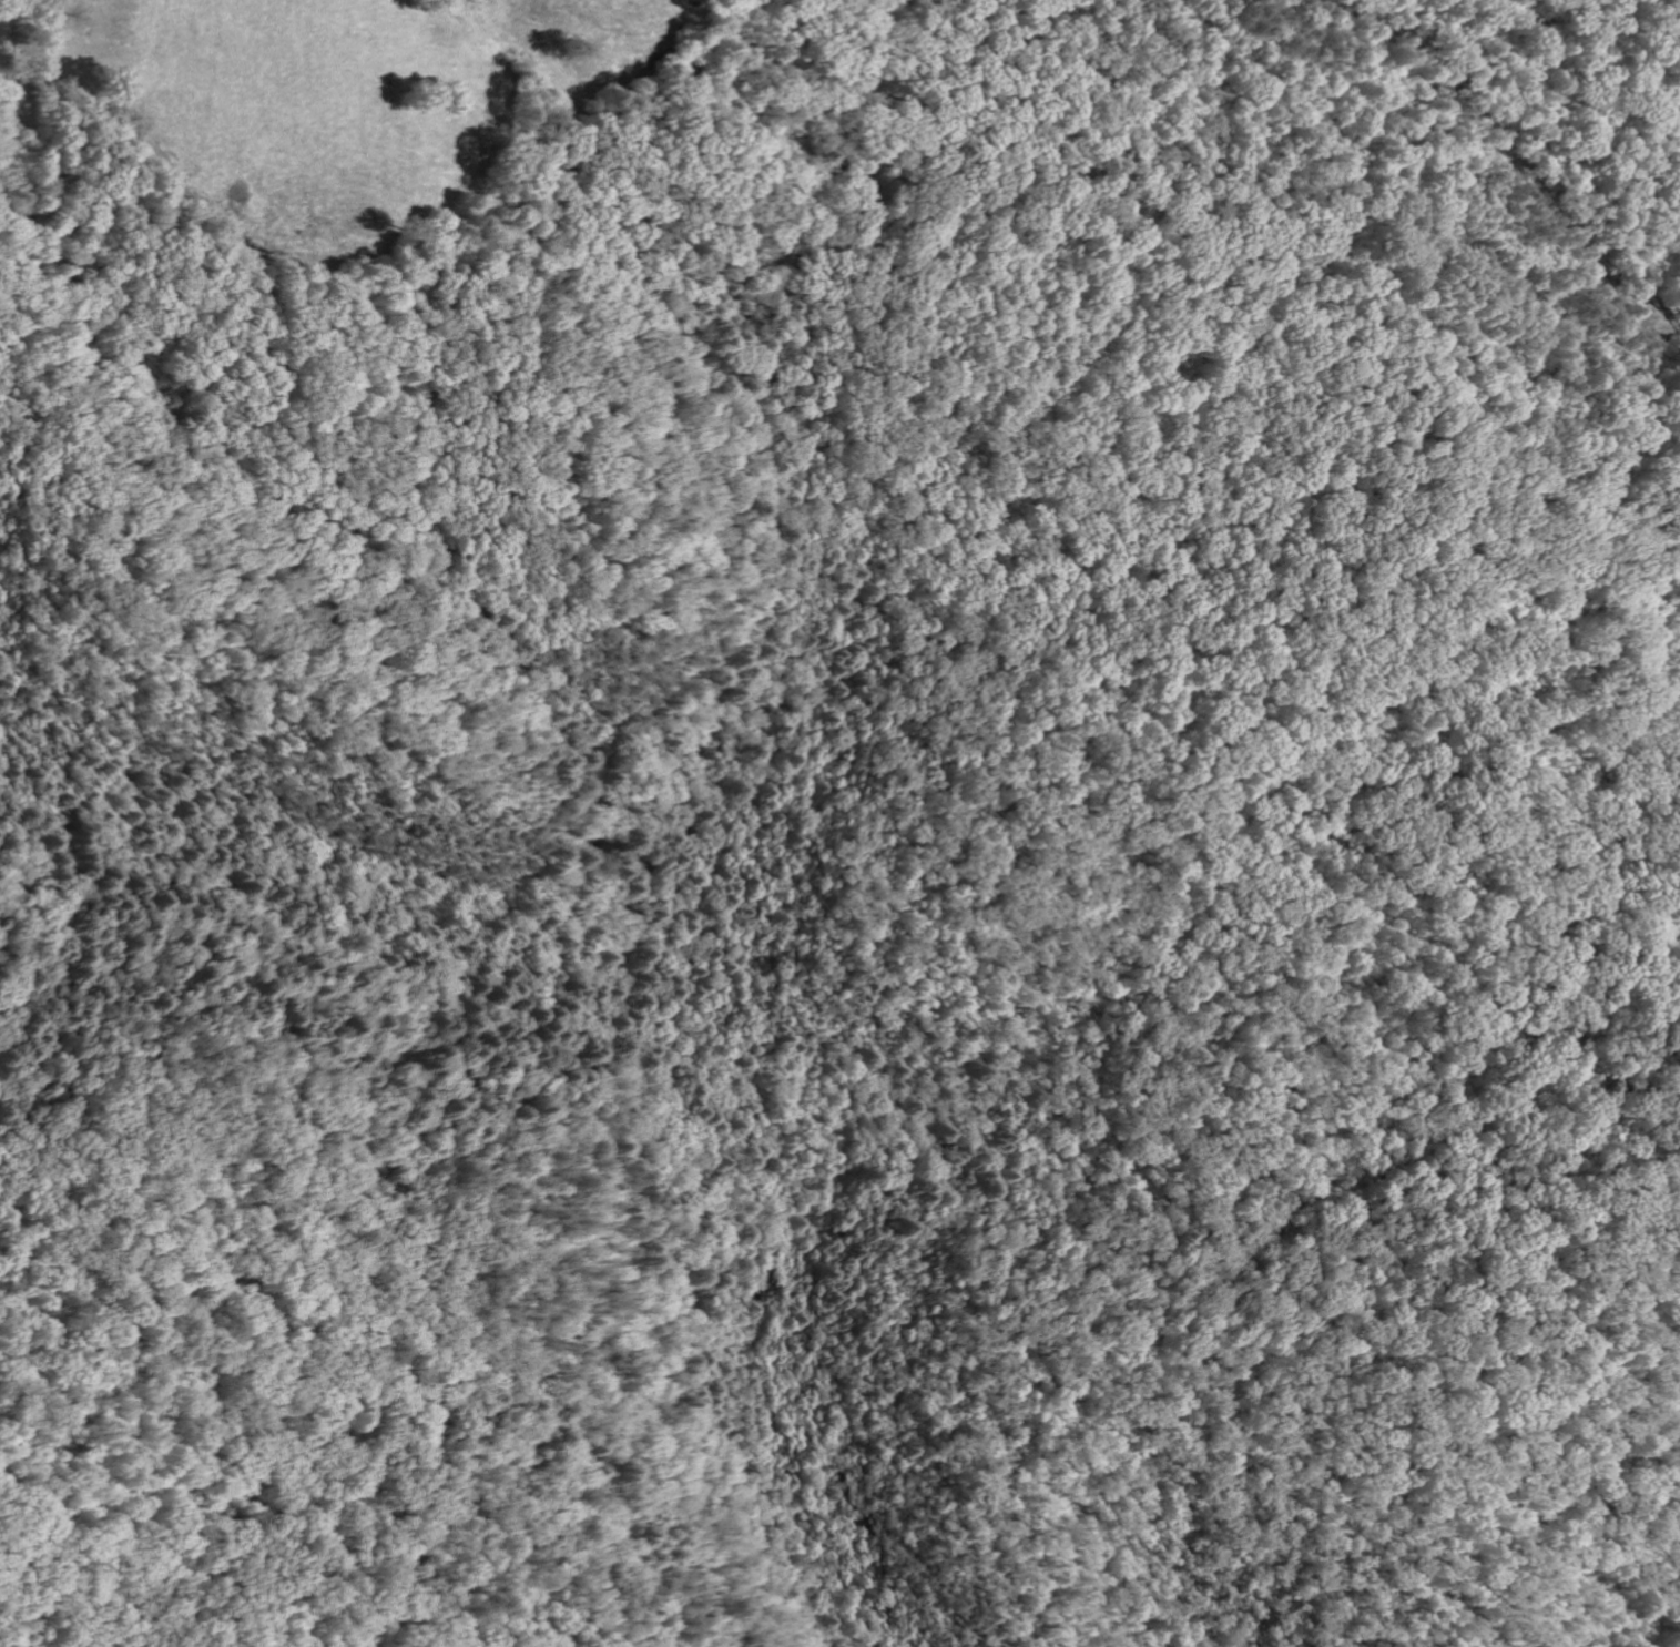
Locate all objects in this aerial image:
road: (1513, 153)

